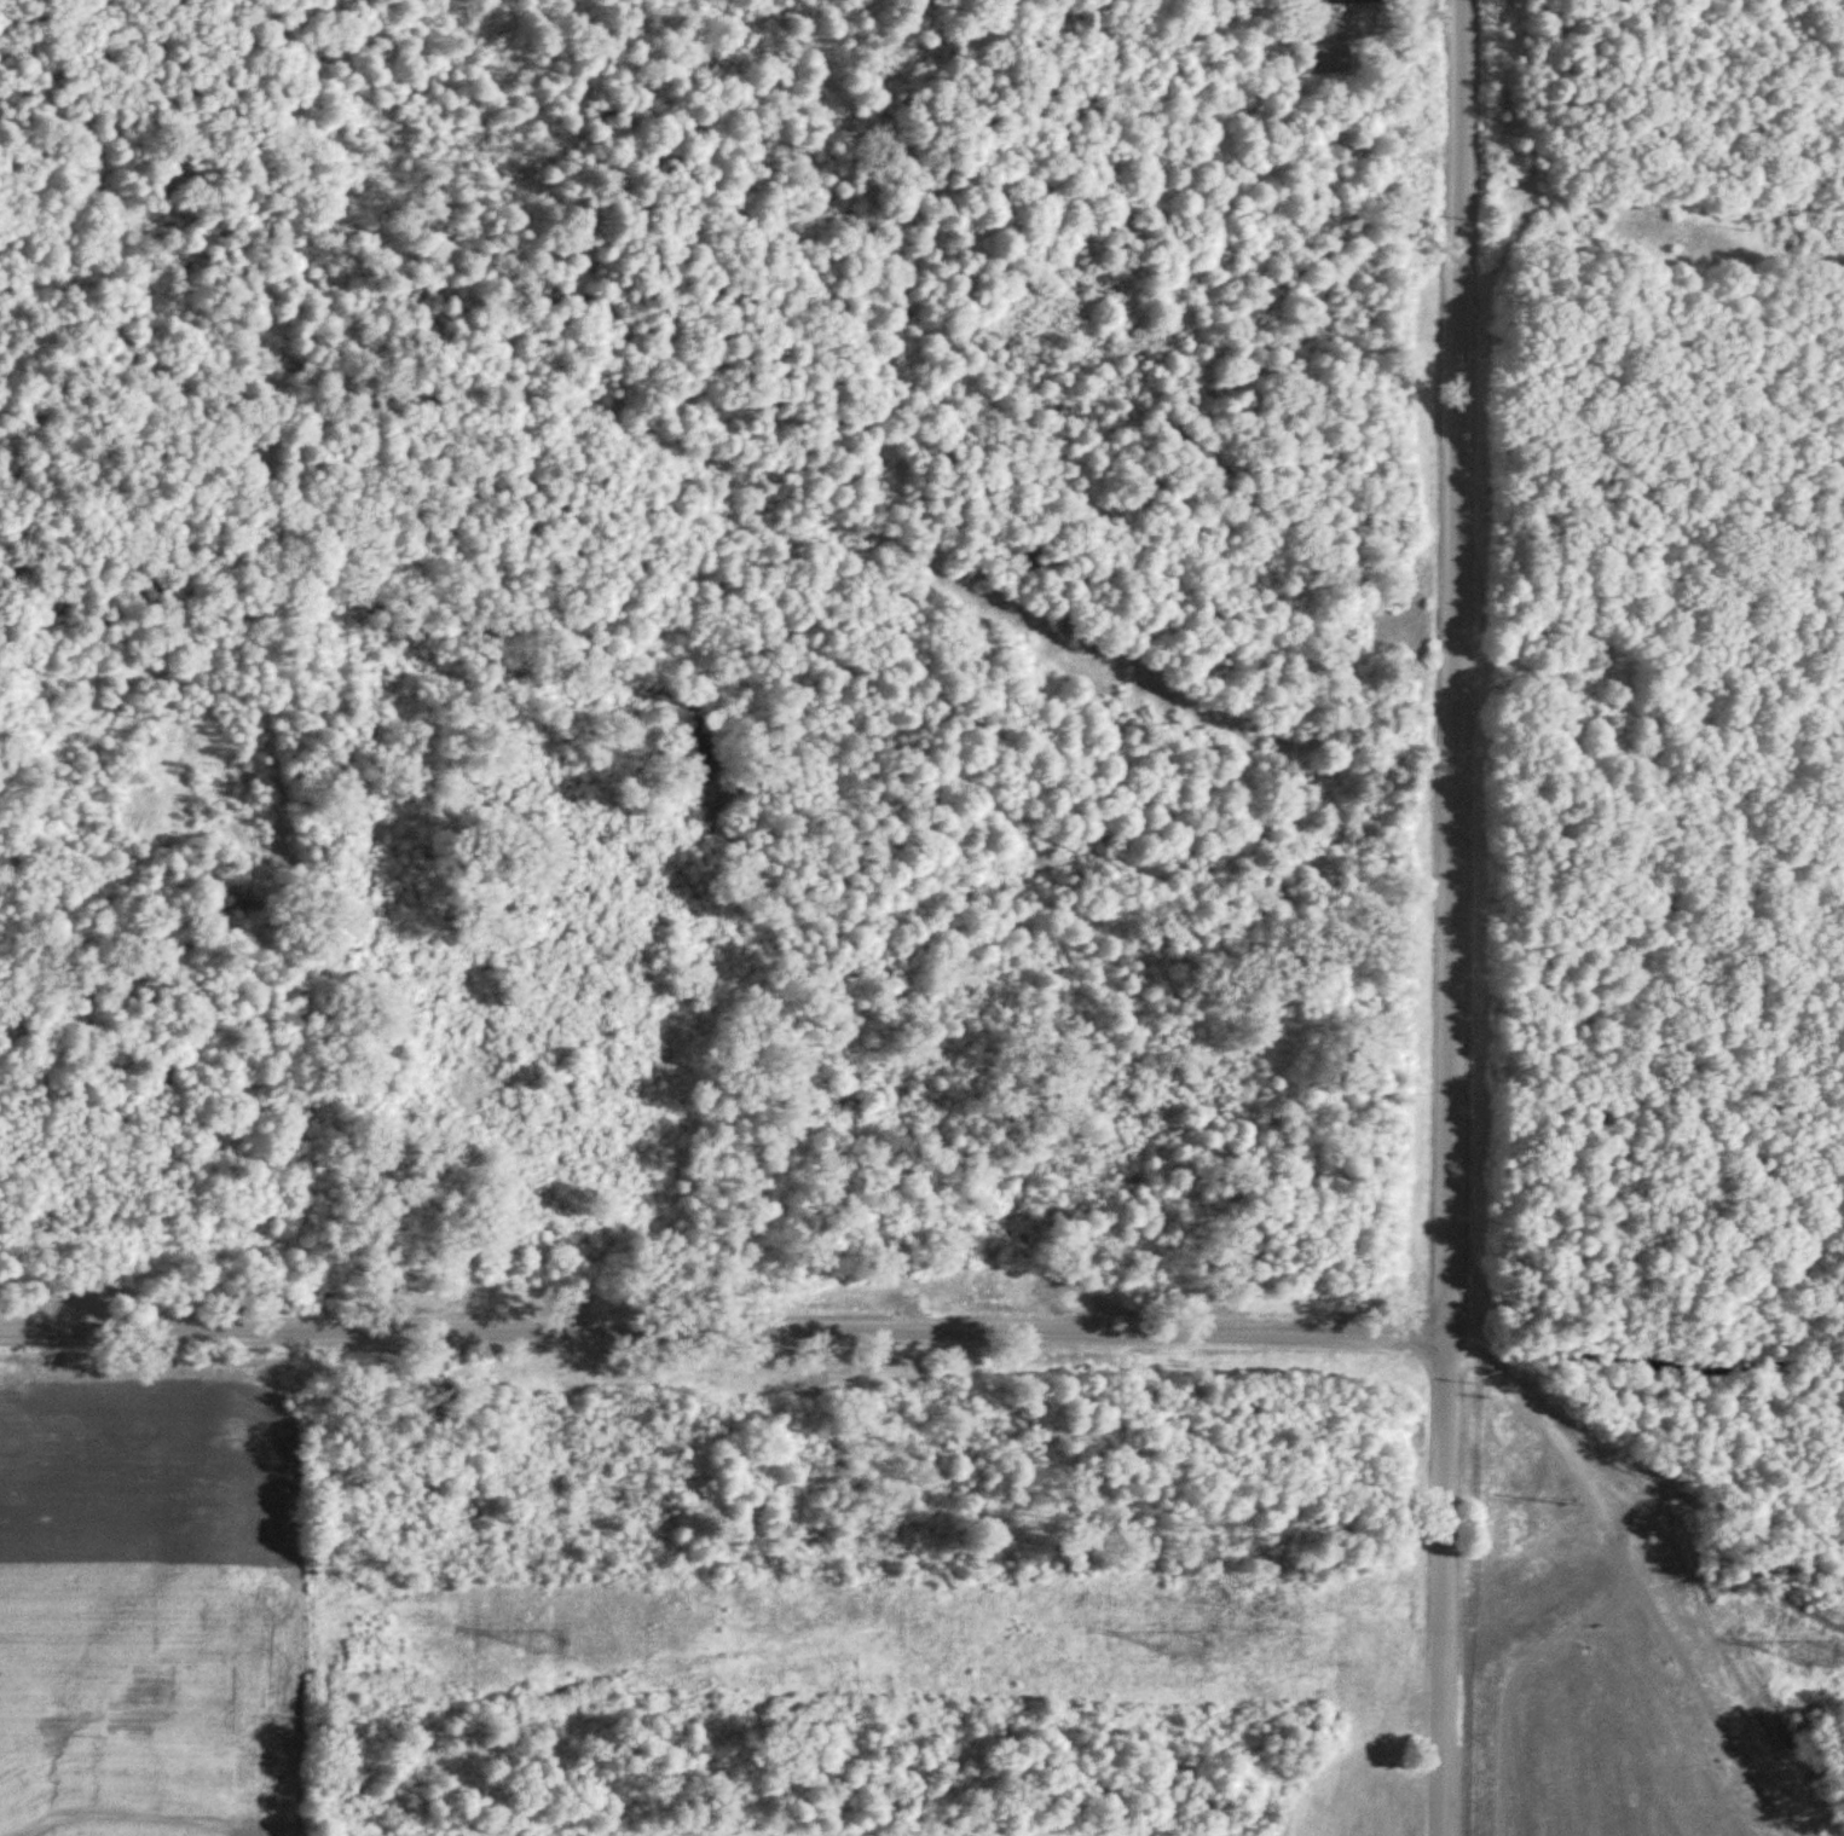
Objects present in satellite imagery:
building: (1348, 2)
road: (1387, 15)
parking lot: (1342, 21)
building: (1324, 60)
road: (1450, 917)
road: (723, 1332)
road: (1567, 1447)
road: (1713, 1507)
power tower: (551, 1644)
power tower: (1187, 1647)
power tower: (1820, 1657)
road: (1516, 1682)
road: (1710, 1718)

